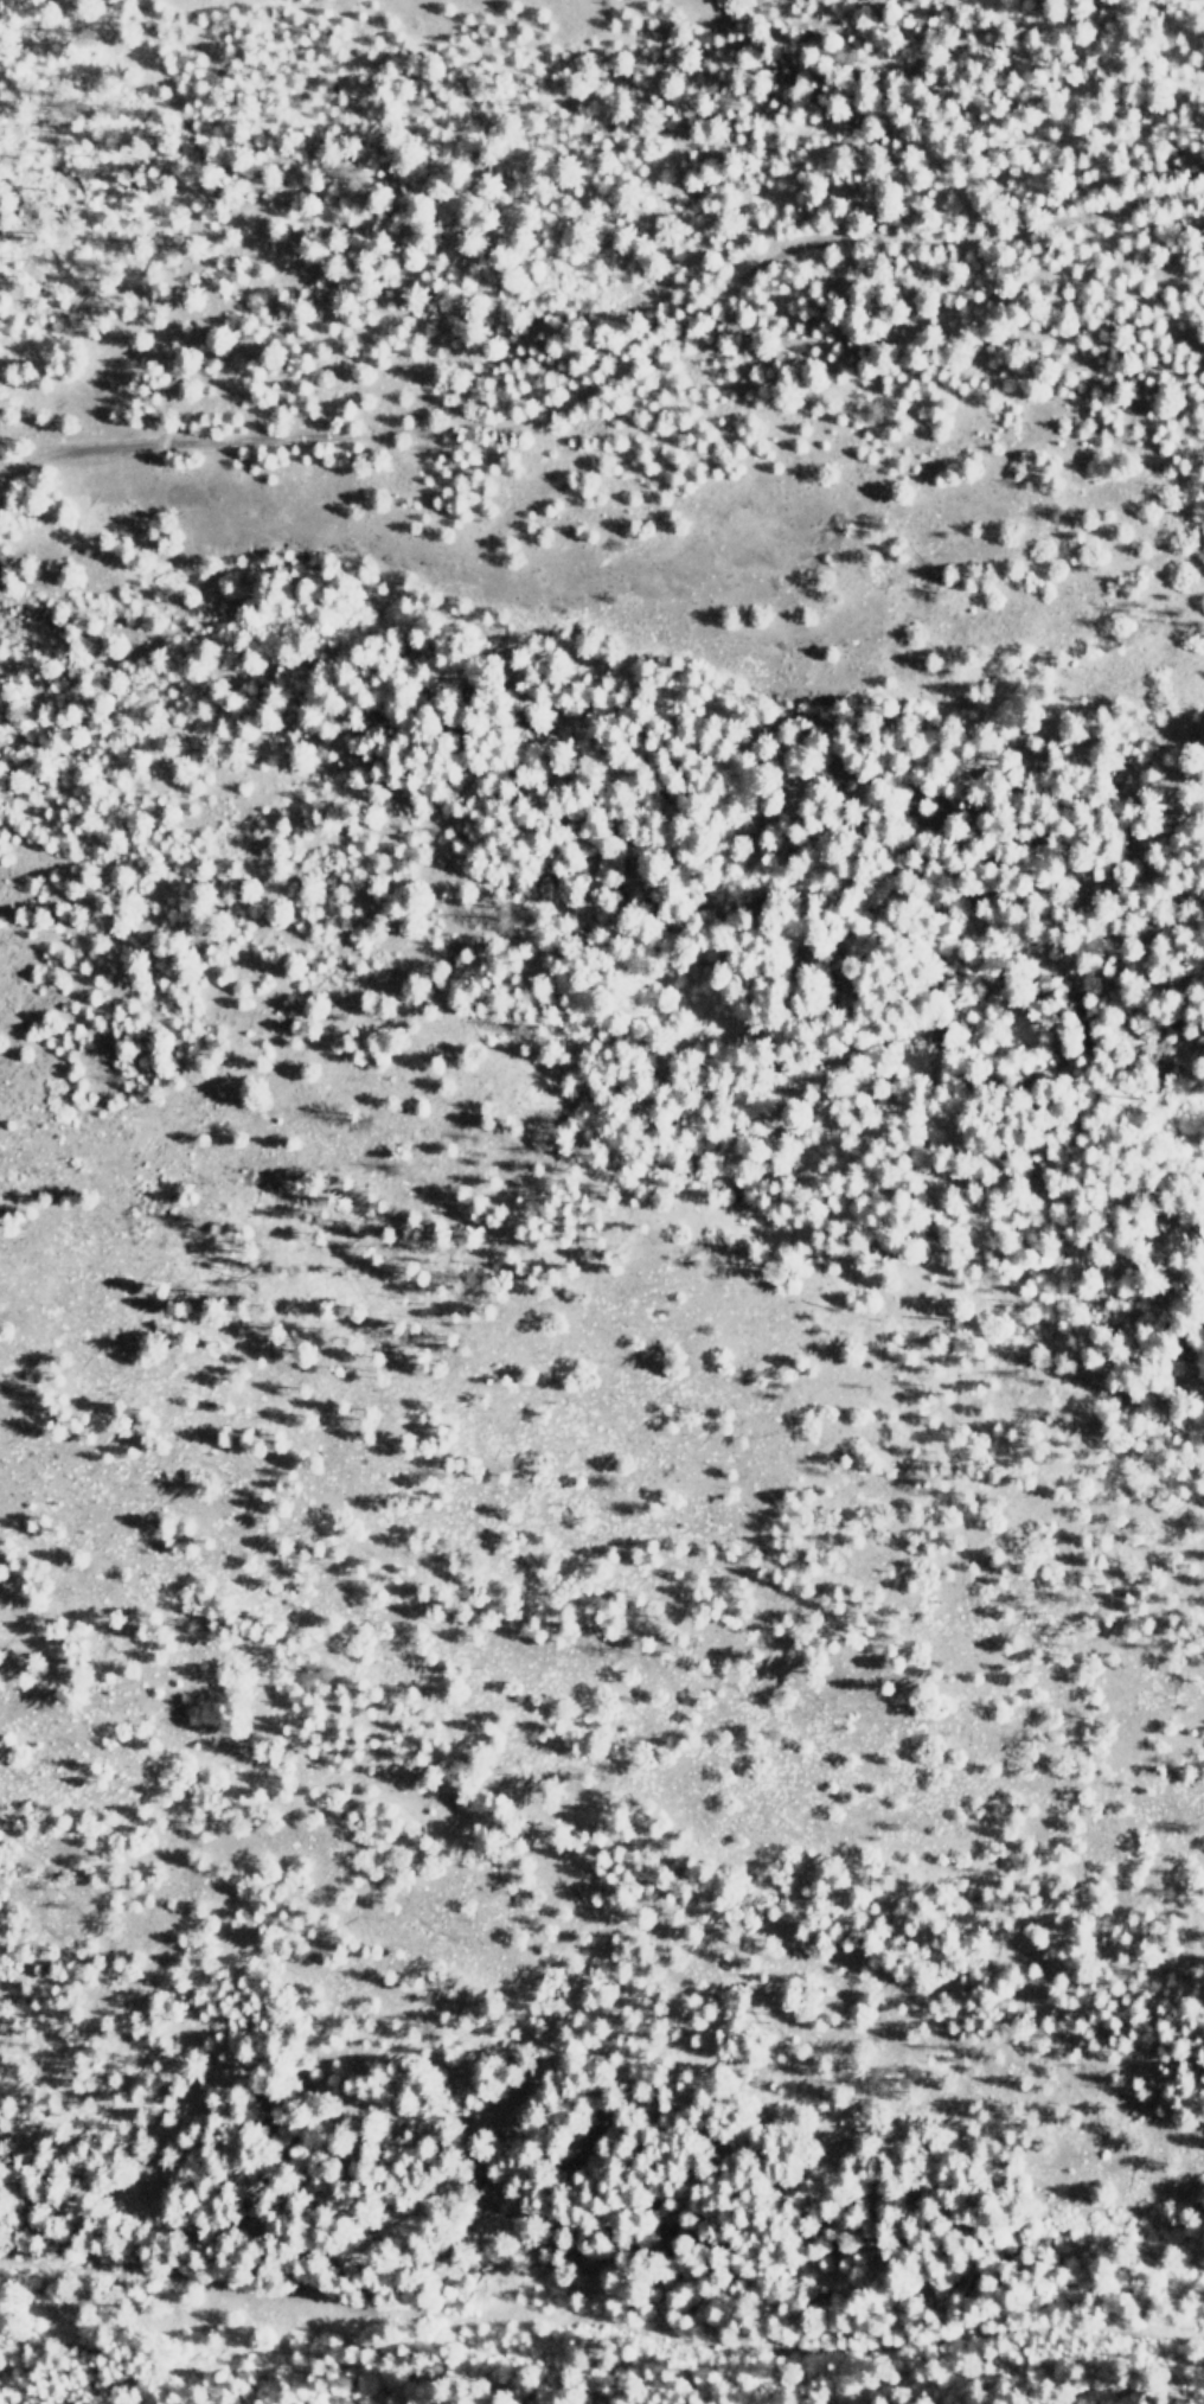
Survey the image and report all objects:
road: (615, 376)
road: (600, 2322)

